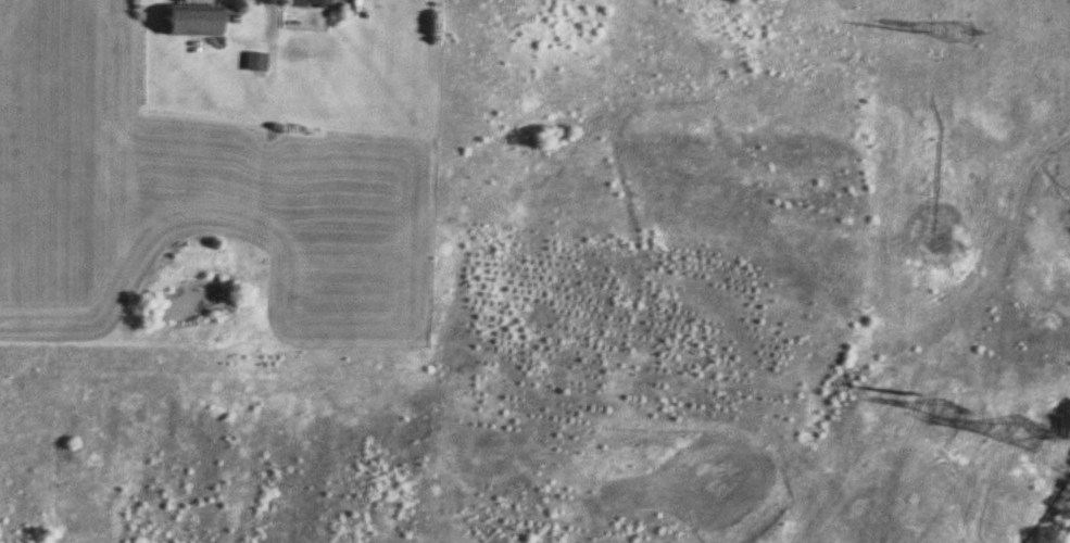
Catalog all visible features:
building: (333, 2)
building: (295, 3)
building: (193, 21)
power tower: (916, 33)
power tower: (961, 36)
building: (257, 63)
crop: (553, 287)
power tower: (901, 399)
power tower: (947, 411)
power tower: (1029, 435)

